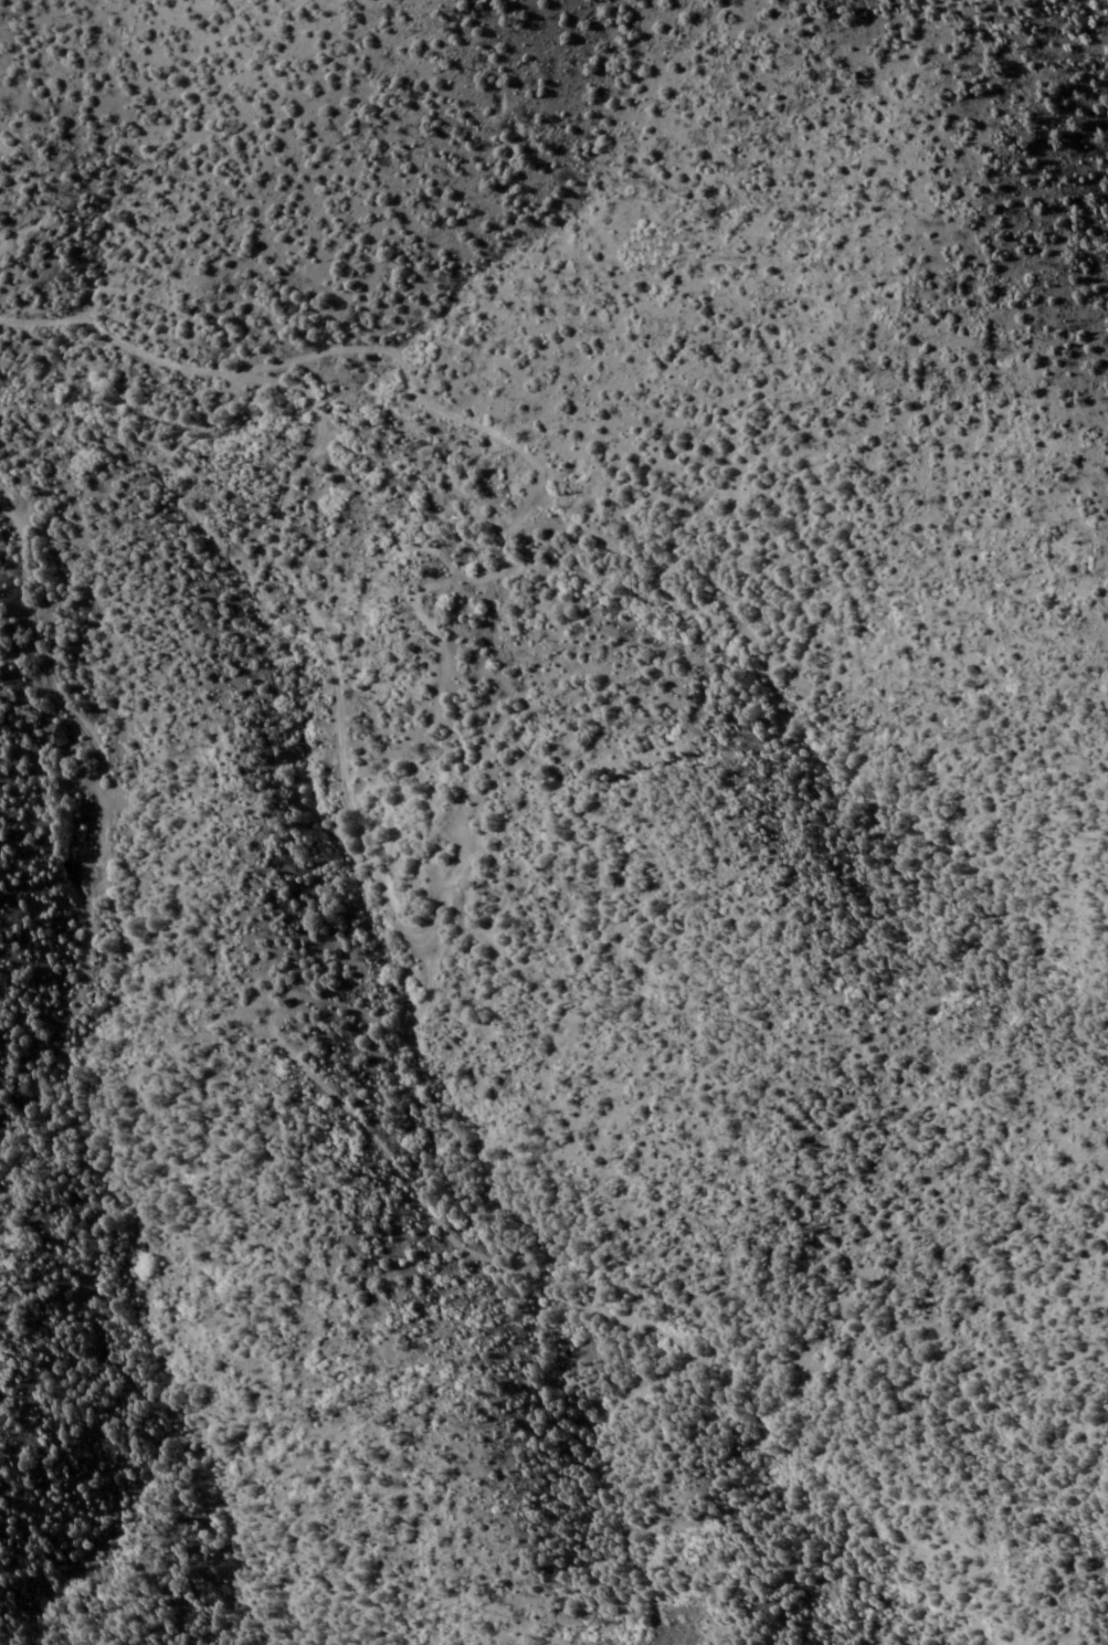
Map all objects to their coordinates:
building: (56, 736)

